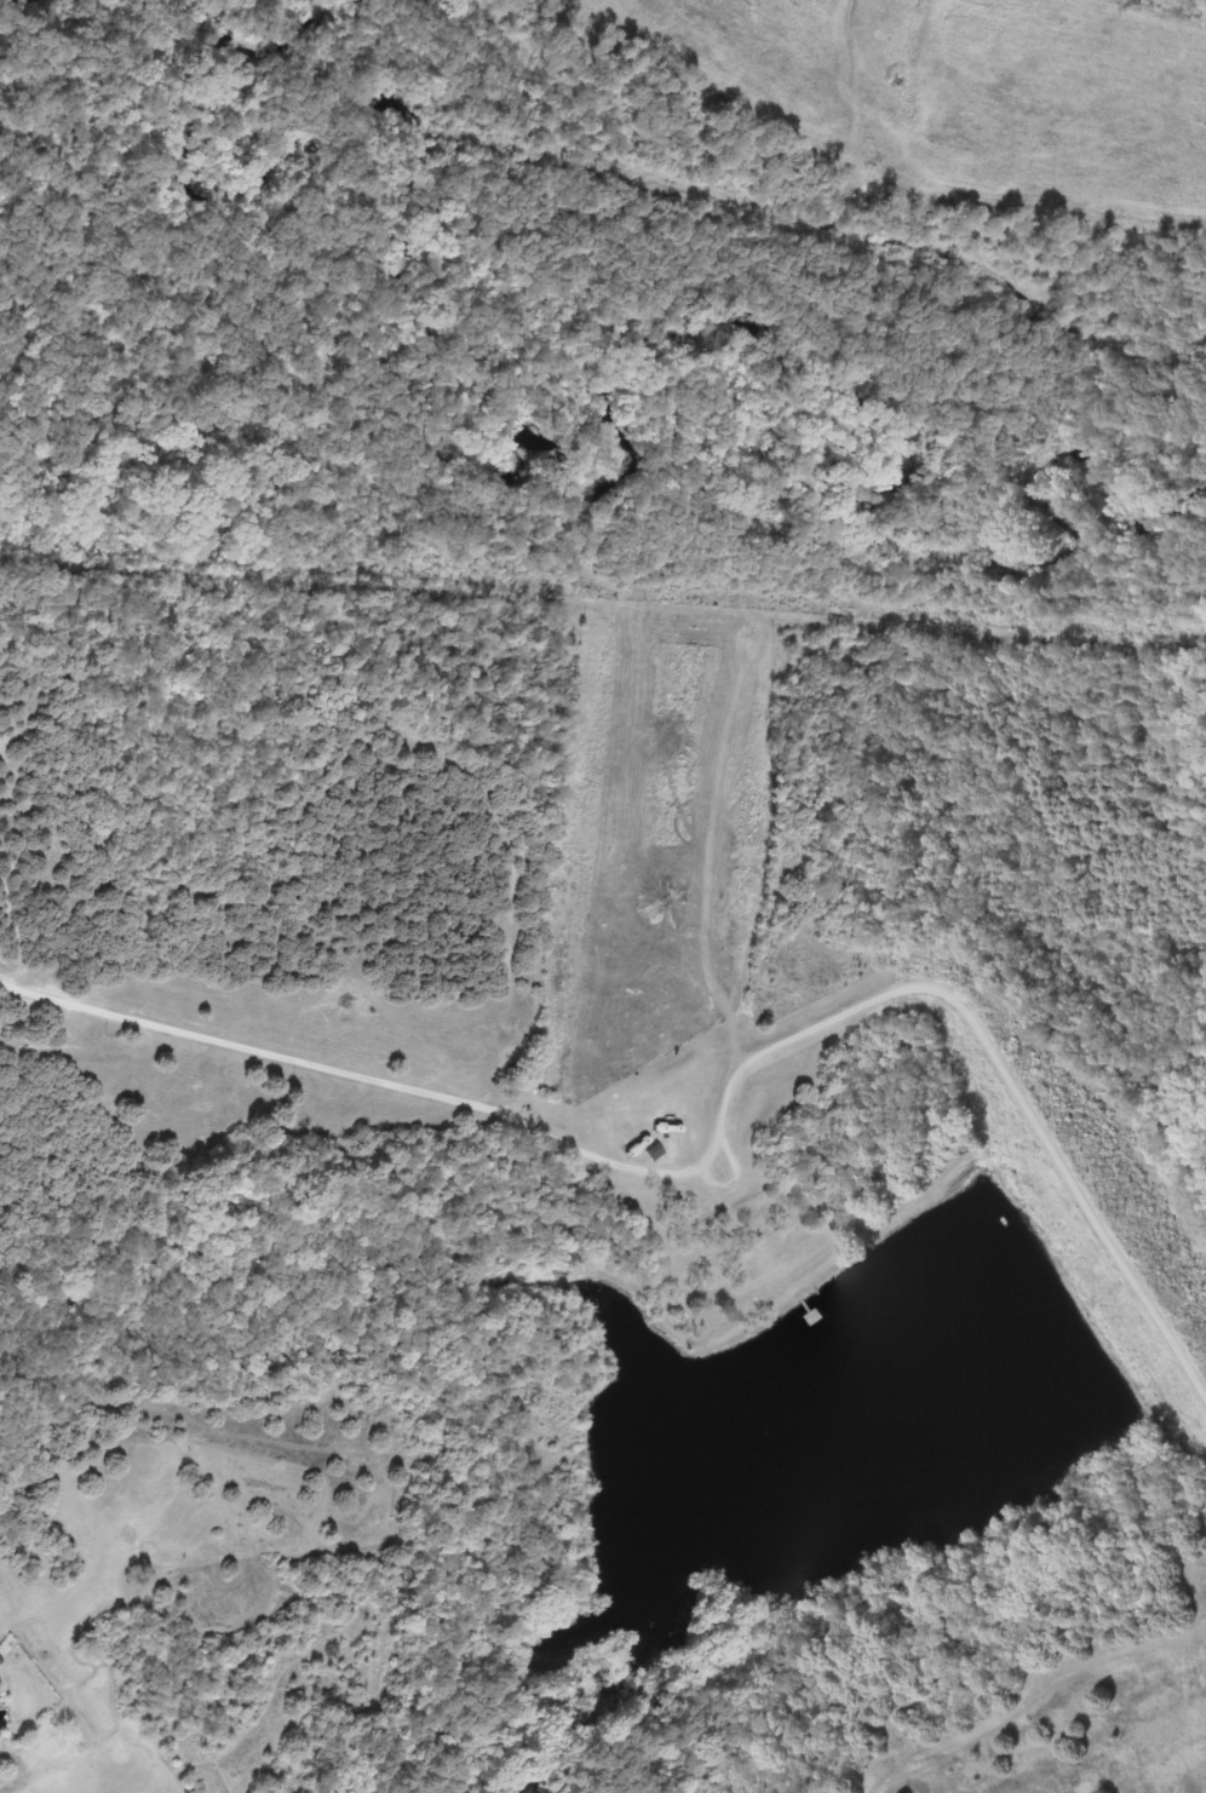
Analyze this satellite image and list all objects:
building: (0, 1732)

